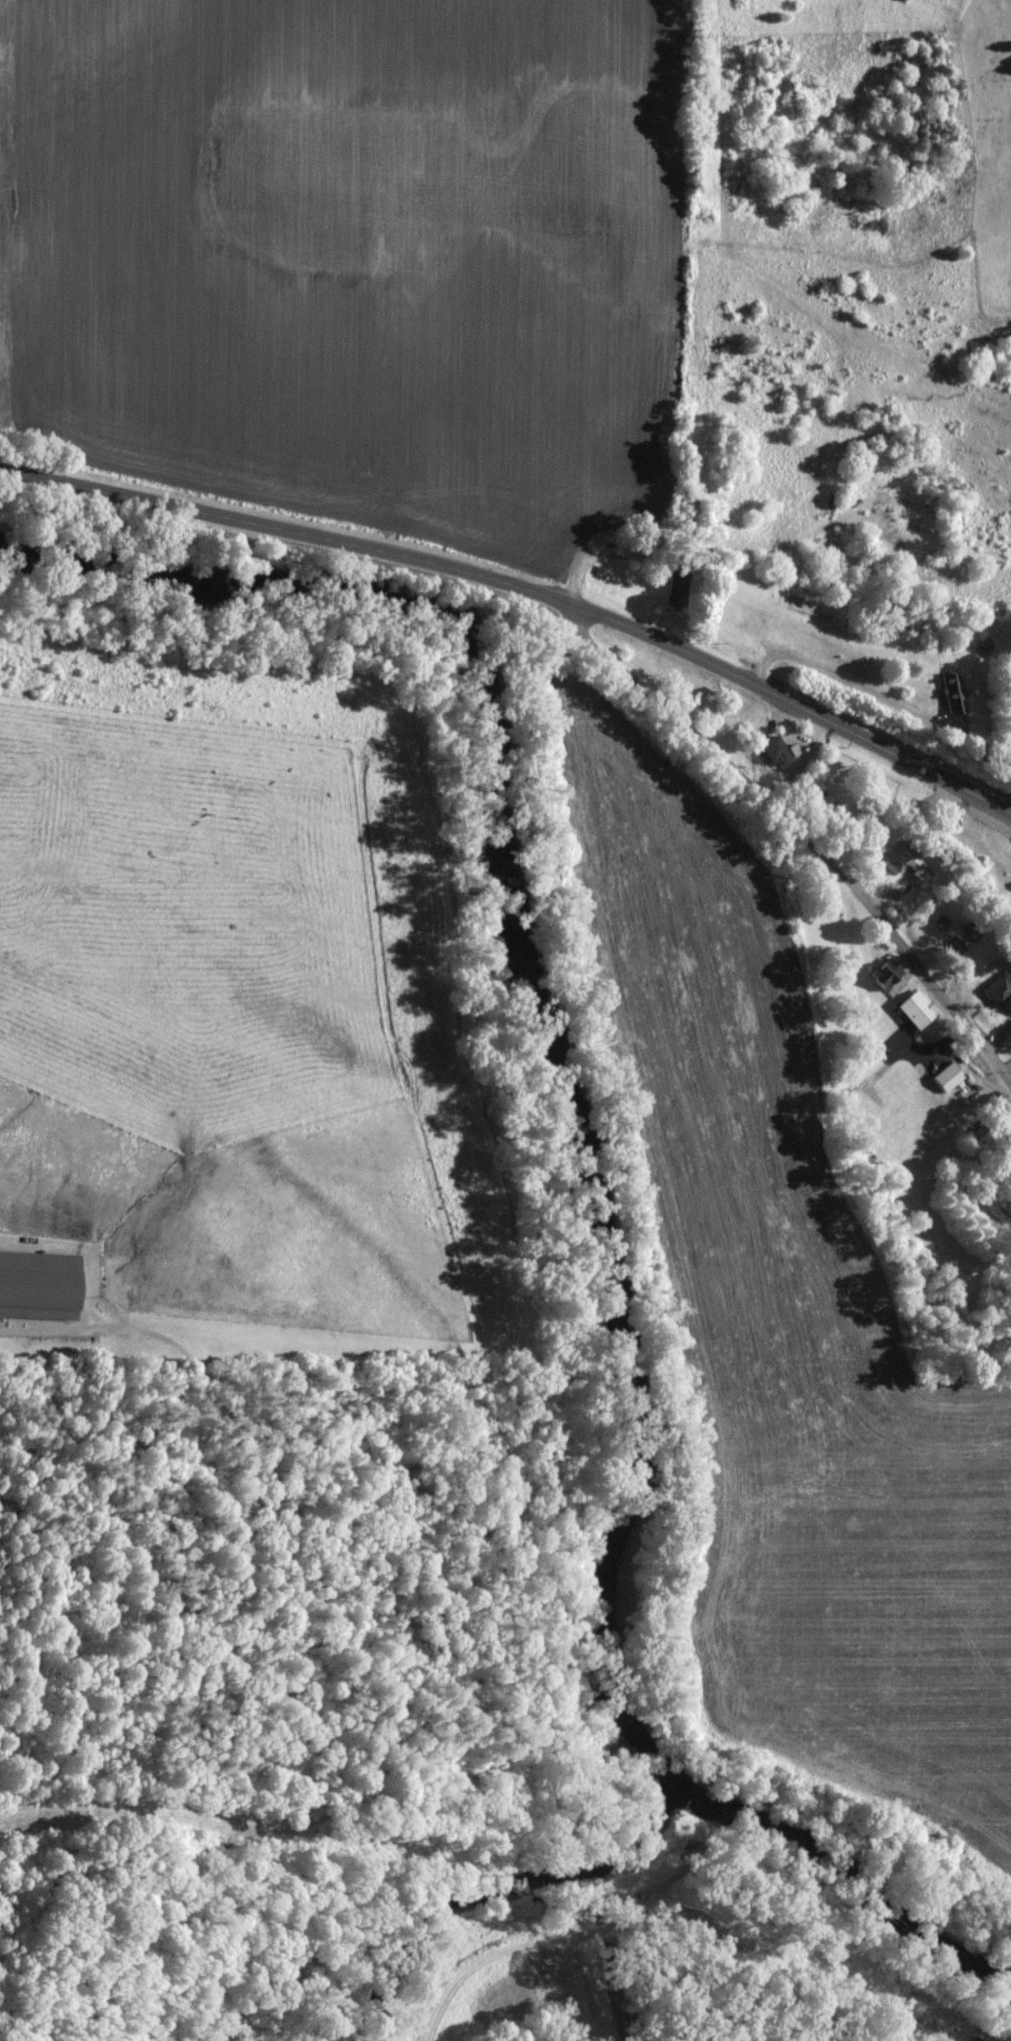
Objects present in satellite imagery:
road: (593, 558)
road: (522, 591)
building: (678, 591)
road: (841, 682)
building: (952, 694)
building: (775, 751)
road: (801, 832)
building: (900, 867)
building: (885, 975)
building: (999, 990)
building: (914, 1010)
building: (1007, 1034)
road: (1006, 1063)
building: (947, 1079)
building: (1010, 1149)
river: (601, 1181)
building: (40, 1285)
river: (487, 1898)

